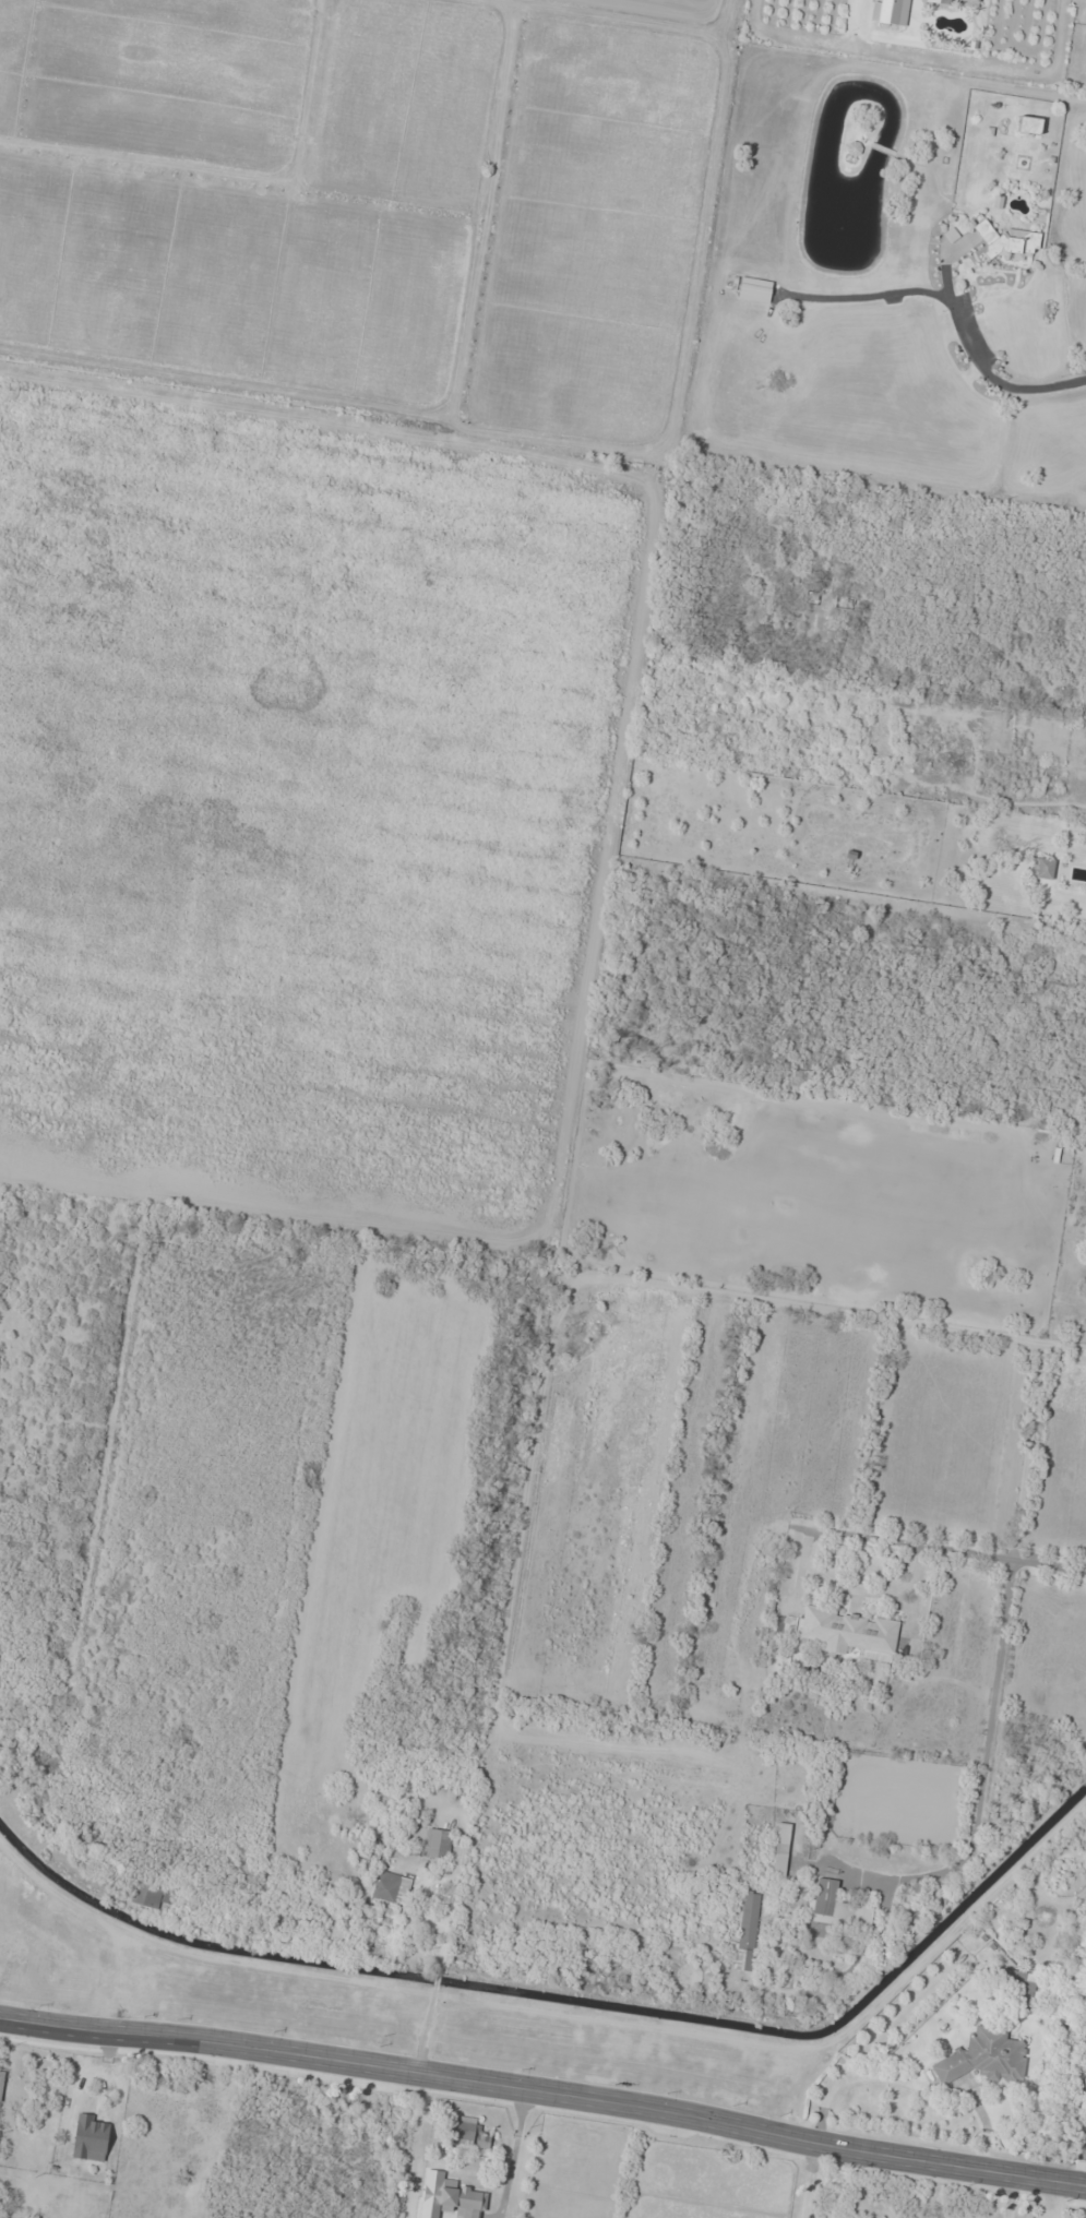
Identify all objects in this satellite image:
building: (891, 11)
building: (1029, 126)
building: (852, 148)
building: (1007, 242)
building: (754, 289)
building: (844, 603)
building: (1045, 868)
building: (850, 1632)
building: (438, 1843)
building: (780, 1849)
building: (391, 1887)
building: (152, 1894)
building: (836, 1908)
building: (911, 1918)
building: (747, 1931)
building: (1005, 1954)
building: (1017, 1984)
building: (984, 2058)
road: (544, 2090)
building: (472, 2132)
building: (89, 2138)
building: (461, 2199)

